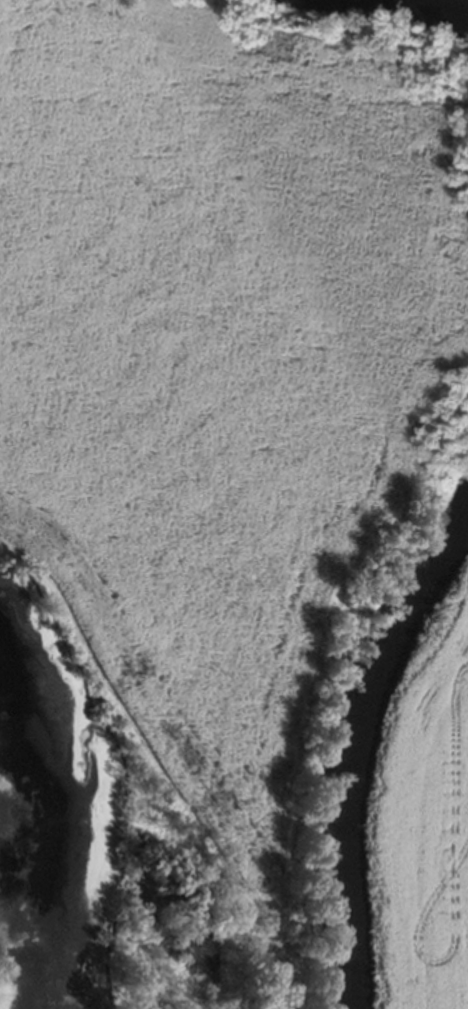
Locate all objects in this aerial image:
river: (385, 22)
river: (359, 745)

